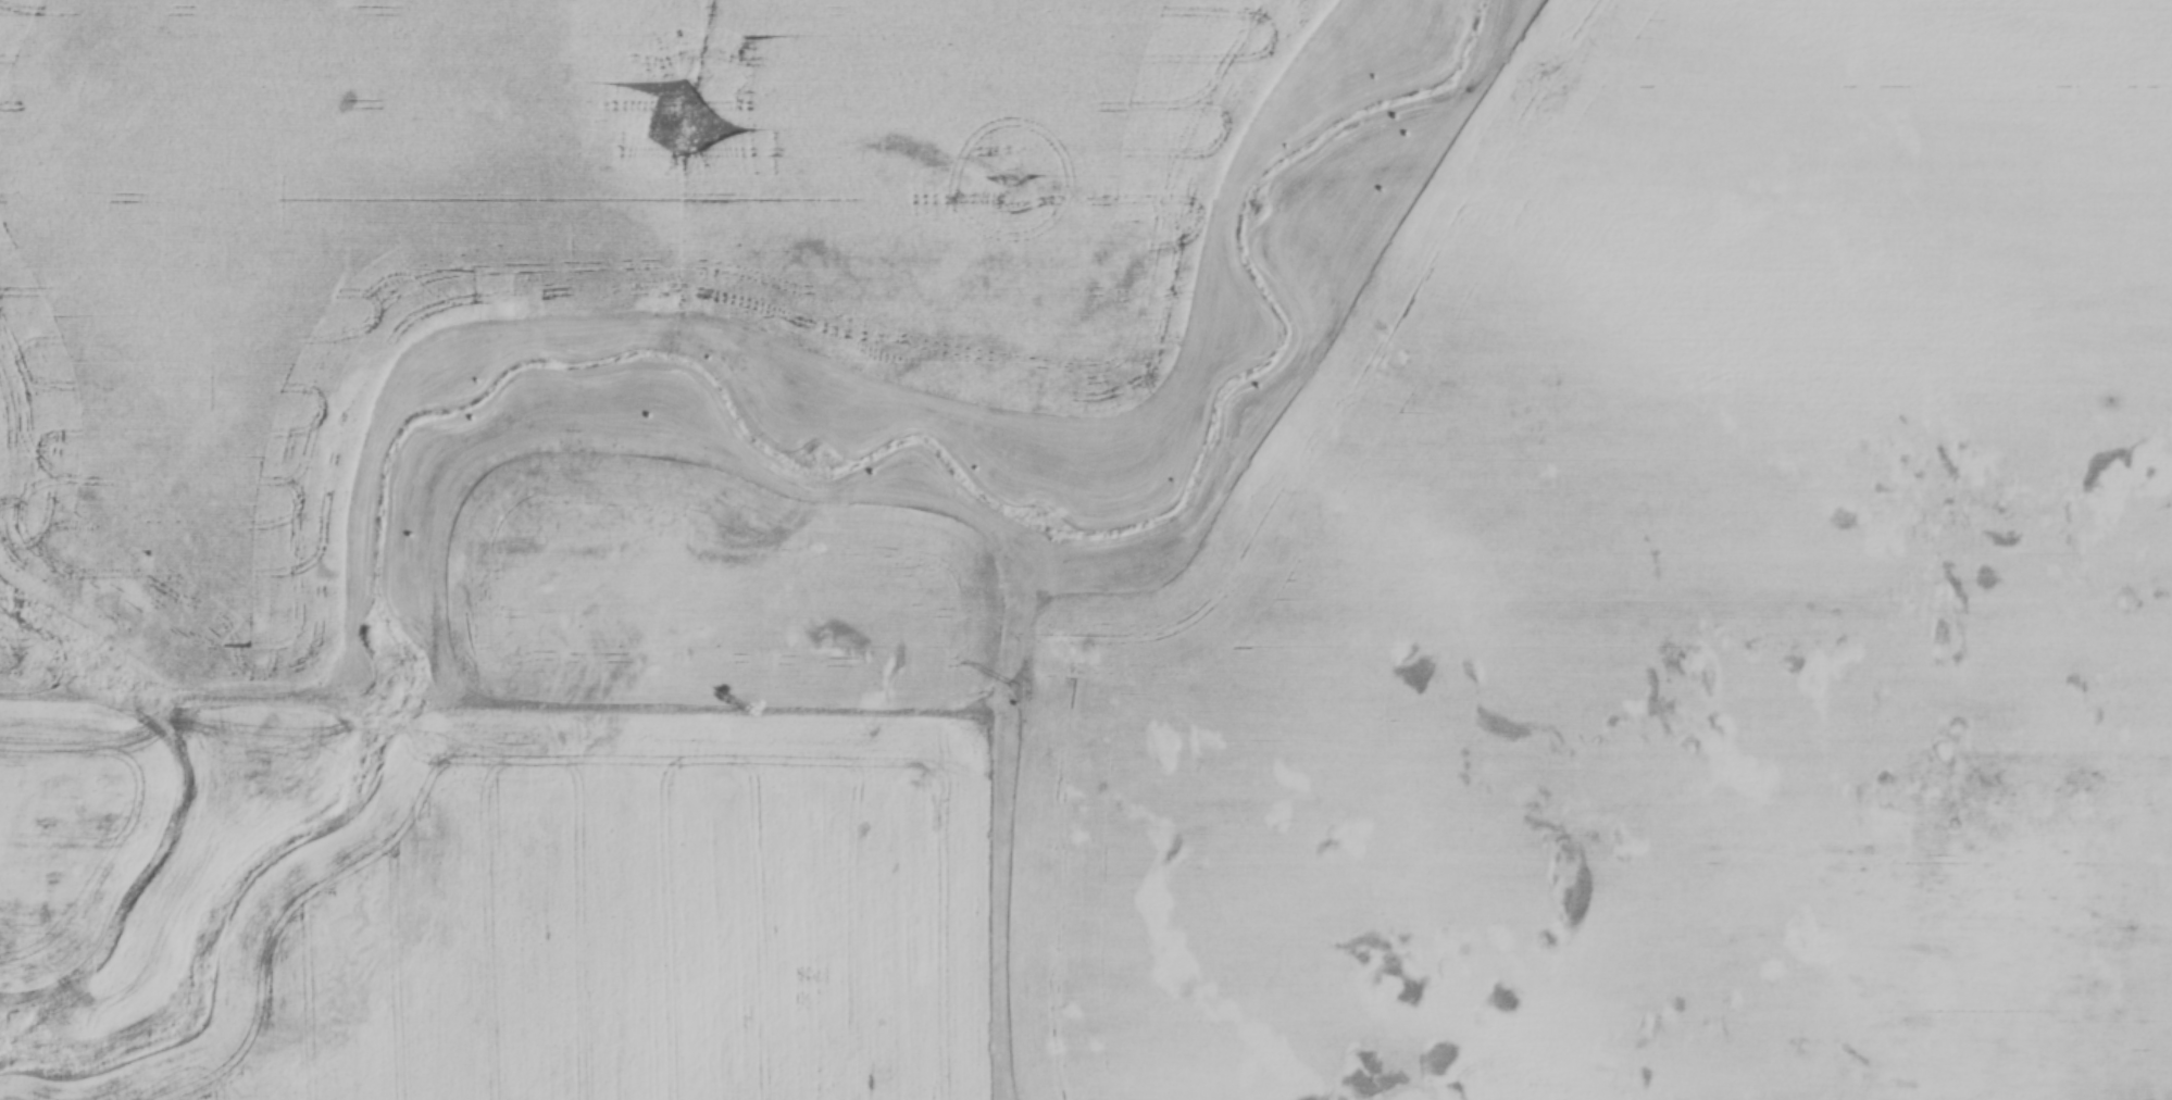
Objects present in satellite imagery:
power tower: (1010, 182)
power tower: (1014, 688)

